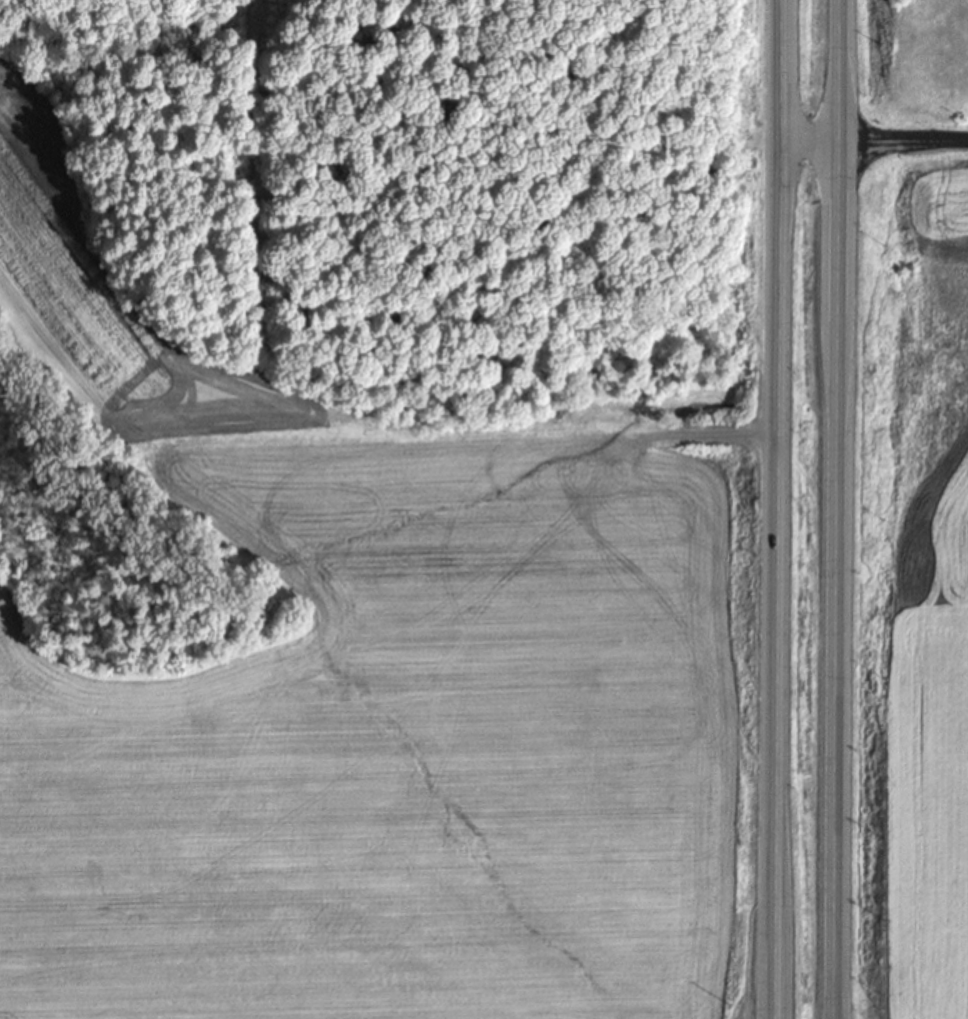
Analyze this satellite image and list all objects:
road: (873, 143)
road: (777, 509)
road: (834, 509)

